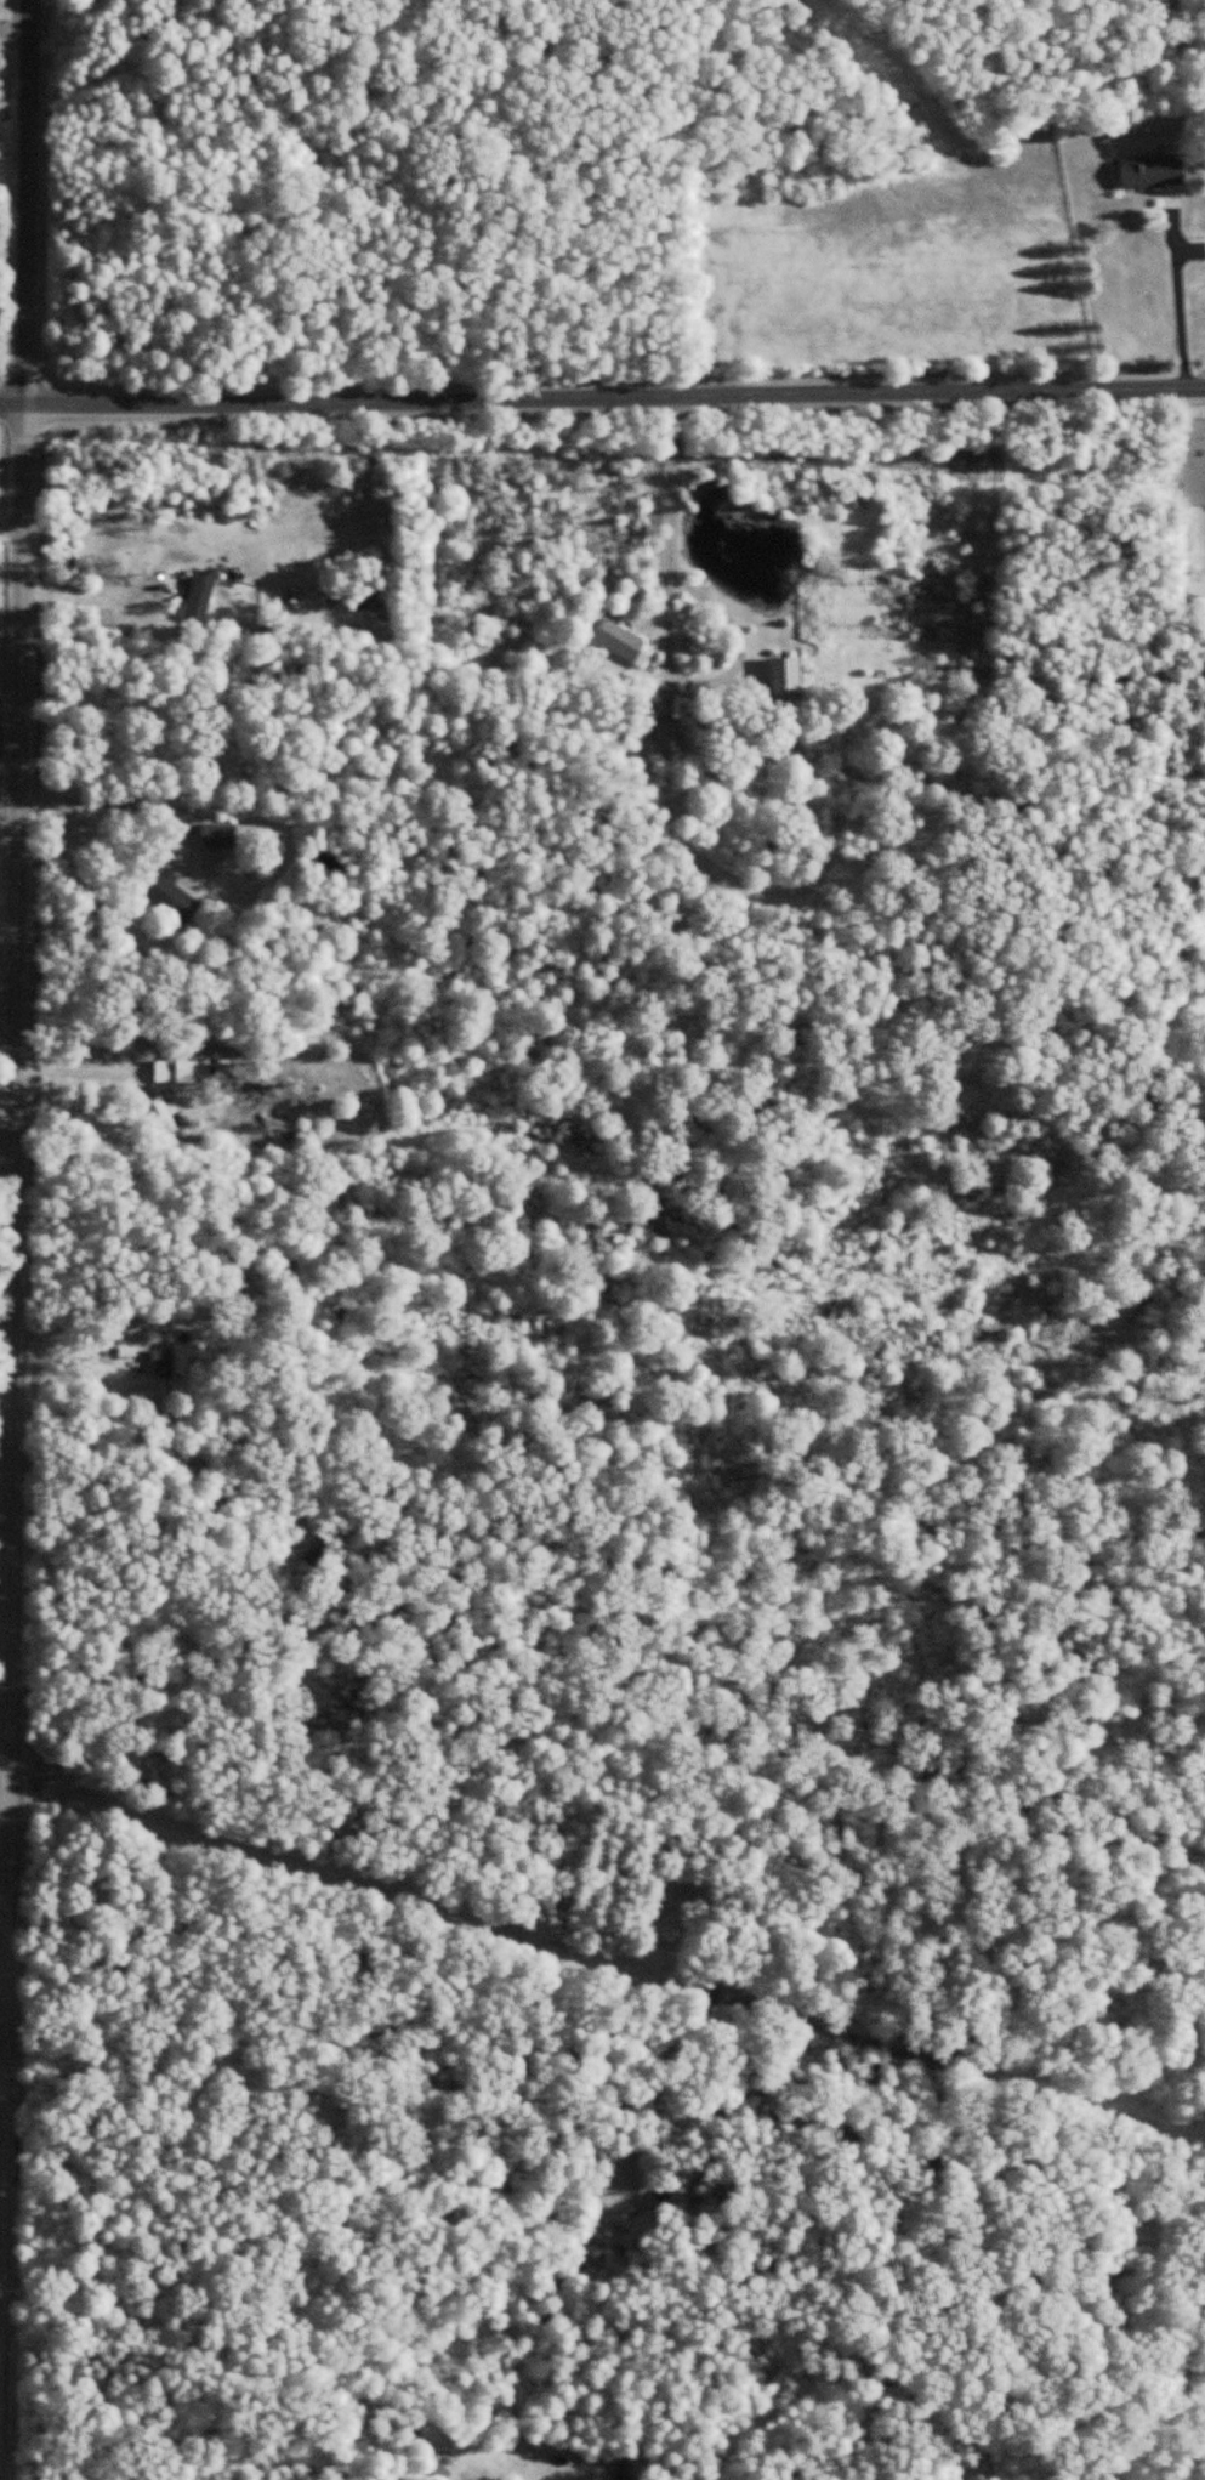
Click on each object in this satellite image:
building: (1153, 176)
road: (28, 203)
road: (1177, 293)
road: (602, 401)
building: (180, 529)
building: (200, 598)
road: (658, 634)
building: (621, 643)
building: (788, 685)
building: (671, 742)
road: (95, 799)
building: (218, 839)
building: (165, 1072)
building: (165, 1117)
road: (12, 1162)
building: (163, 1362)
road: (4, 1525)
road: (1, 1791)
road: (295, 1865)
building: (626, 2470)

